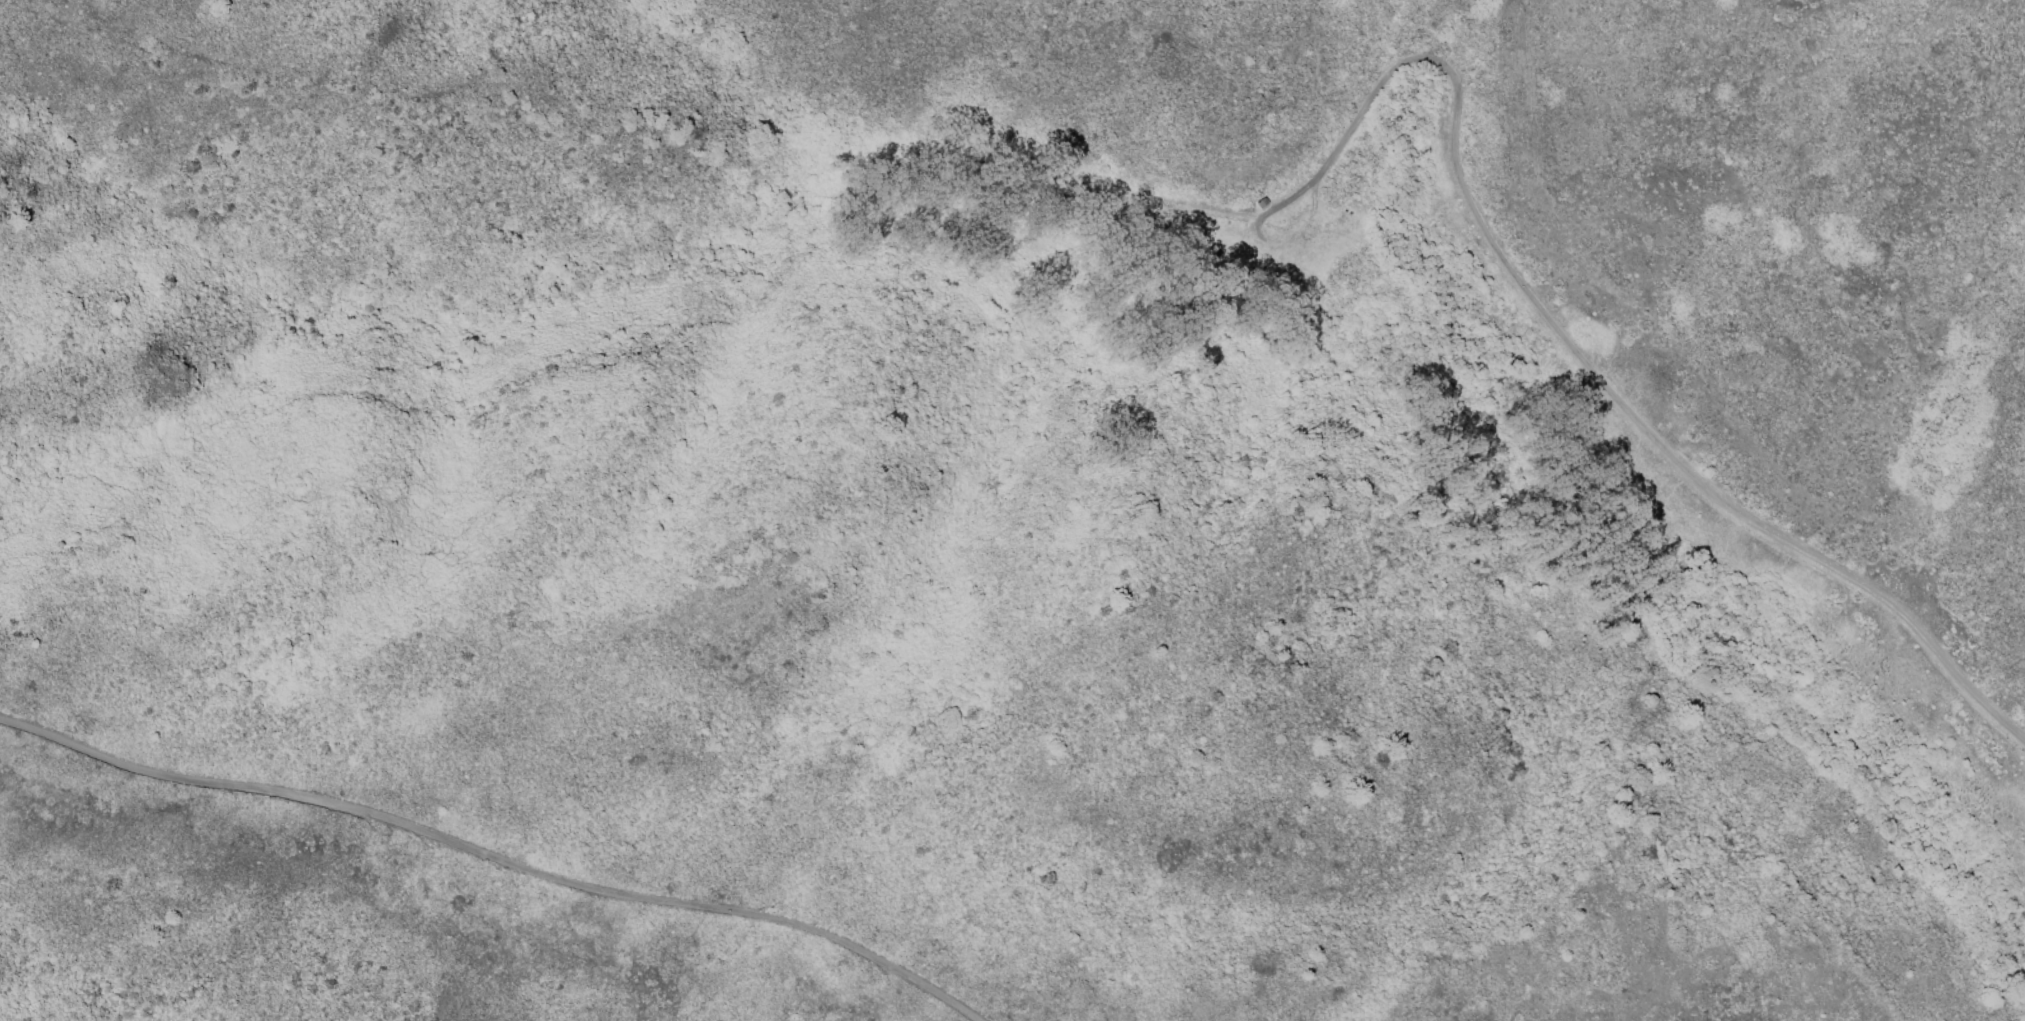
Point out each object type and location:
road: (1460, 171)
building: (1261, 202)
road: (496, 858)

